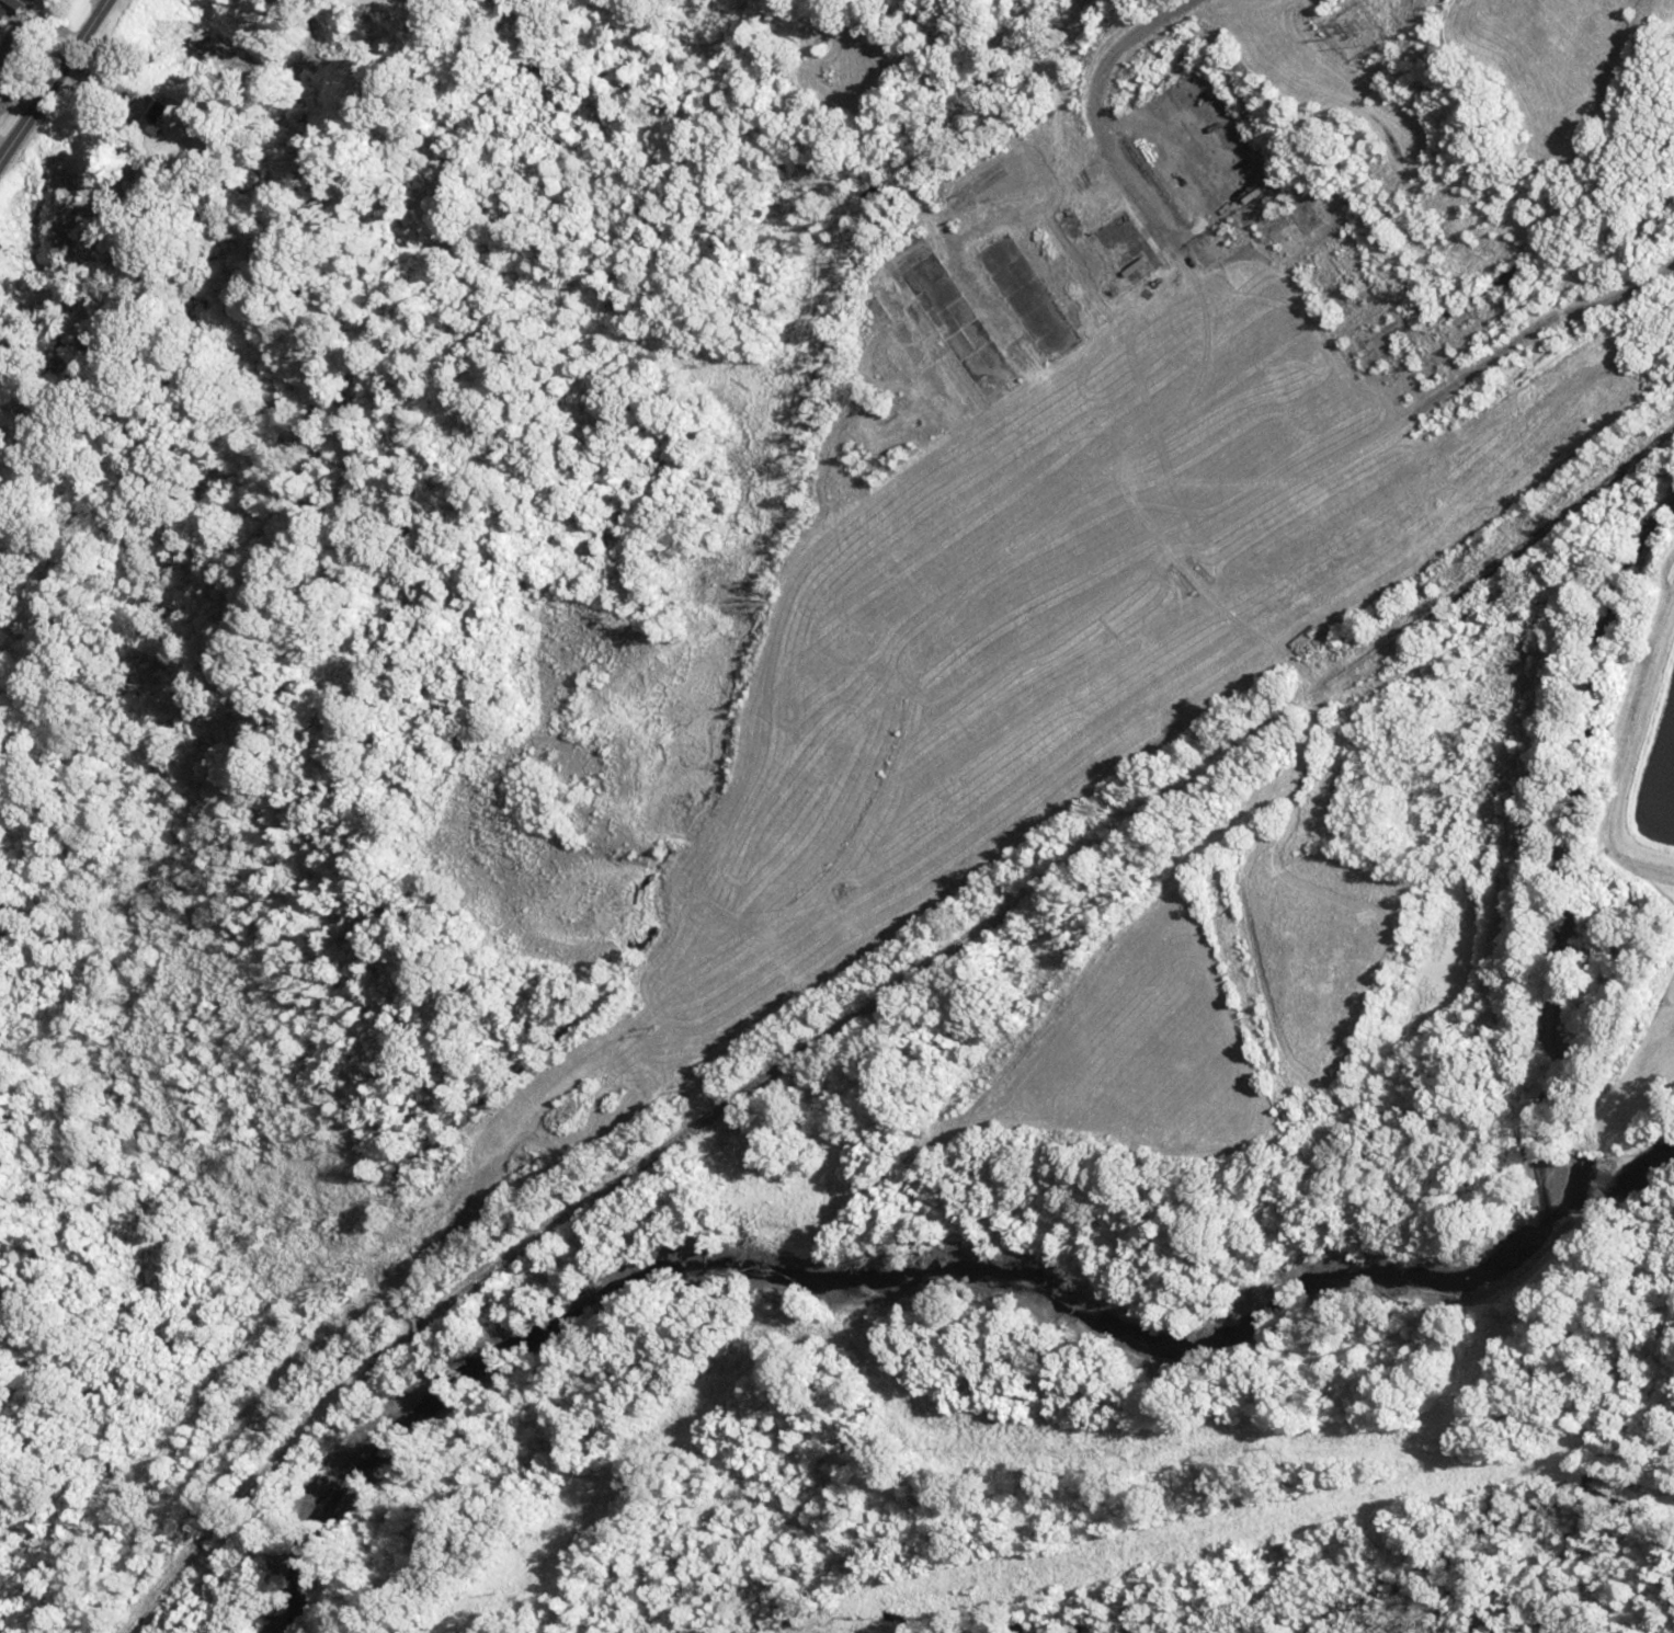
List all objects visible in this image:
building: (43, 0)
building: (11, 15)
road: (32, 41)
building: (164, 115)
wastewater plant: (1644, 762)
railway: (870, 995)

